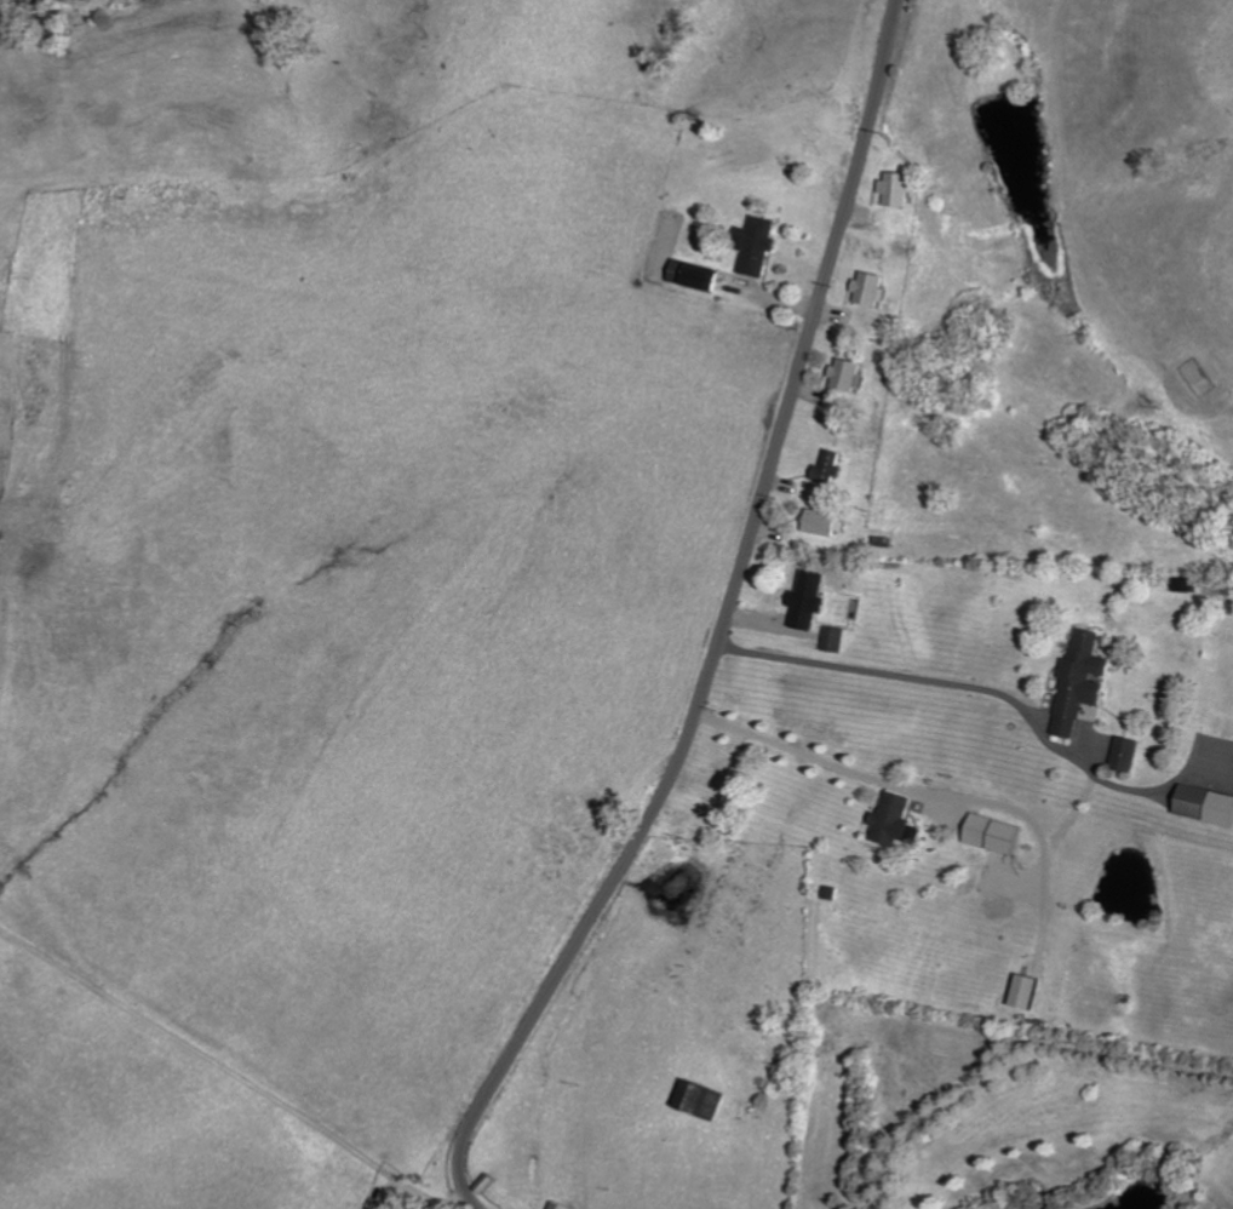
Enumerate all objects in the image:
building: (899, 189)
building: (761, 245)
building: (699, 276)
building: (872, 290)
building: (849, 373)
building: (832, 466)
building: (826, 522)
building: (813, 604)
road: (726, 628)
building: (839, 638)
building: (1084, 681)
building: (1129, 754)
building: (1209, 803)
building: (901, 820)
building: (1000, 833)
road: (948, 903)
building: (1033, 991)
building: (709, 1099)
building: (563, 1205)

